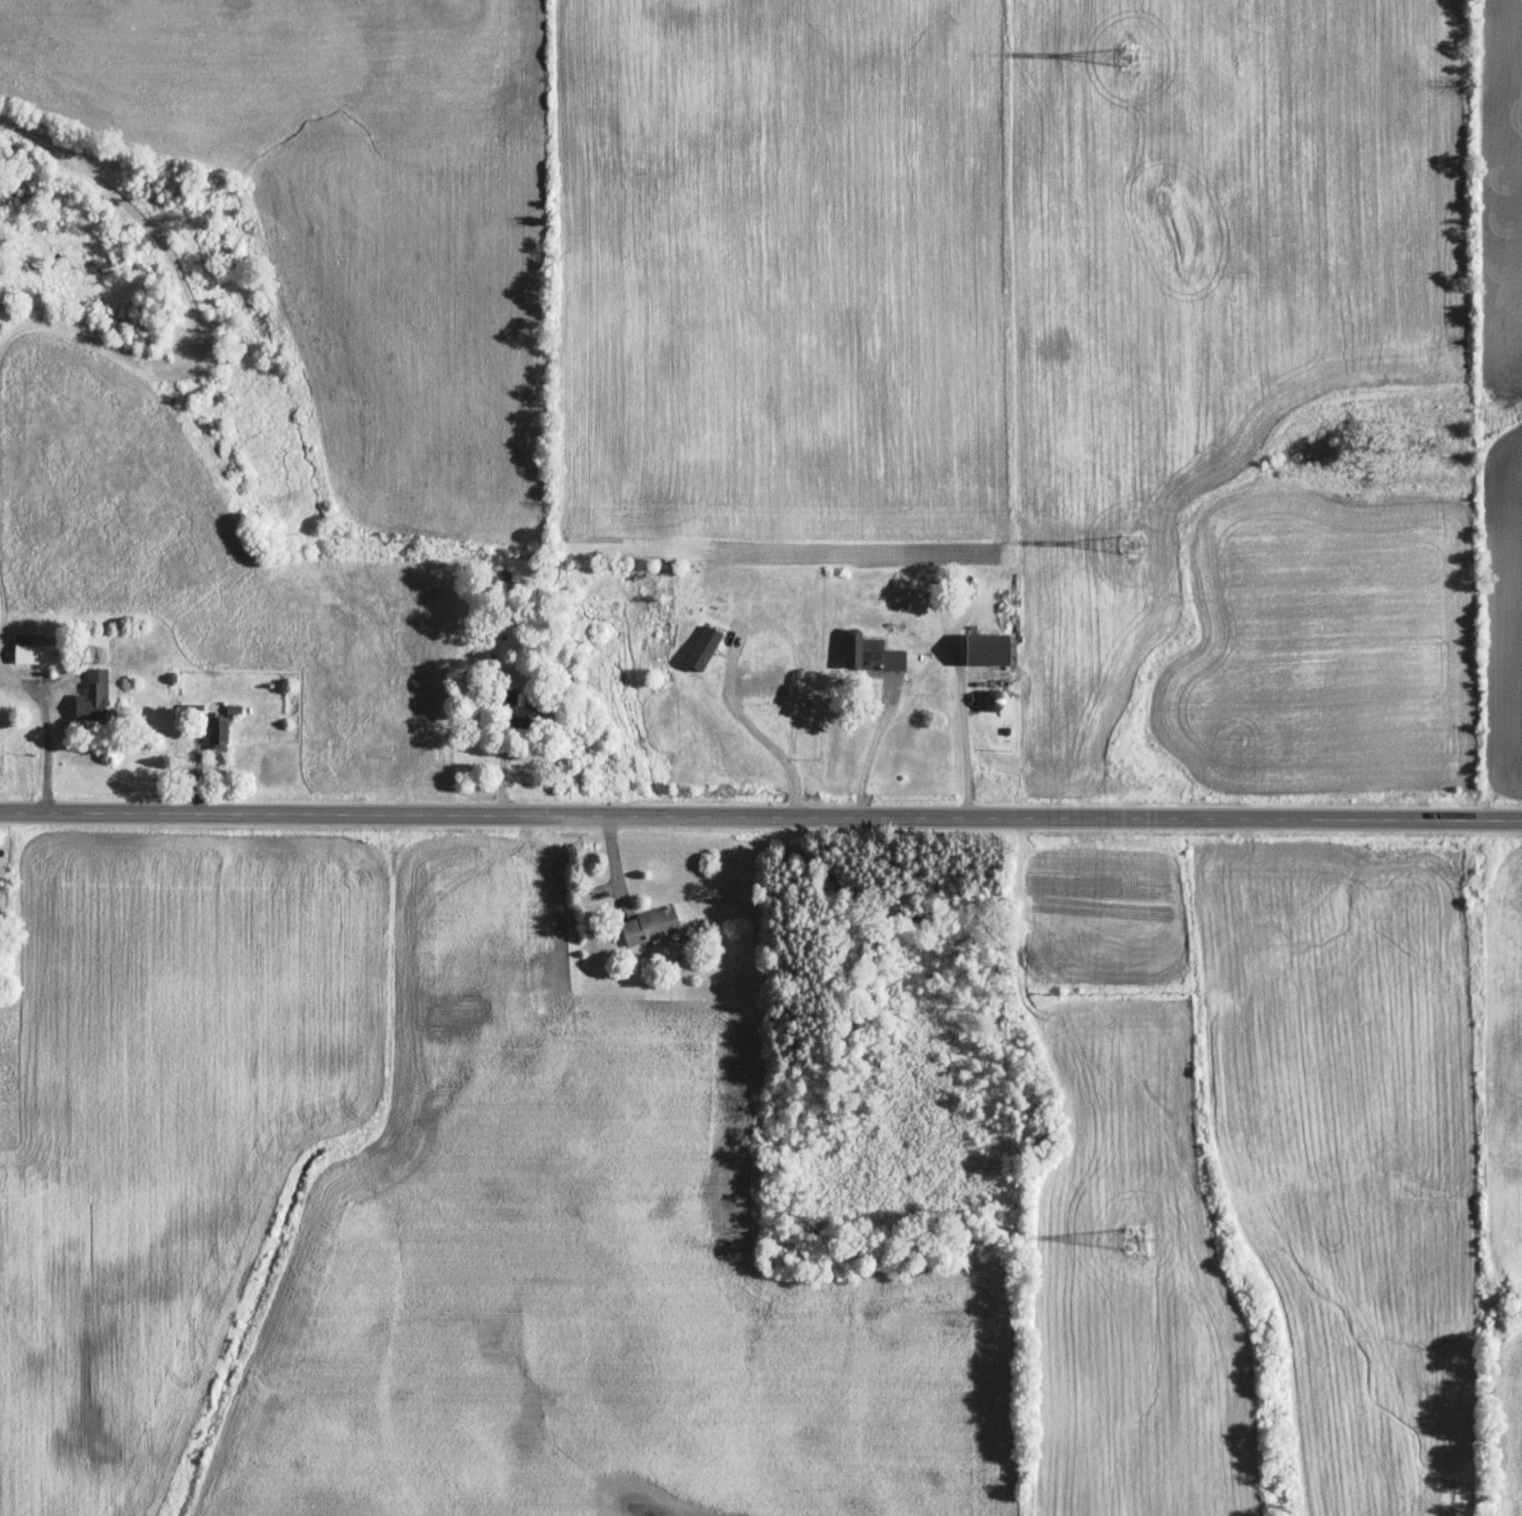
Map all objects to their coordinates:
power tower: (1131, 59)
power tower: (1127, 530)
building: (28, 649)
building: (986, 649)
building: (871, 653)
building: (93, 697)
building: (520, 713)
road: (757, 728)
building: (217, 738)
road: (873, 752)
road: (761, 817)
building: (650, 927)
power tower: (1133, 1229)

